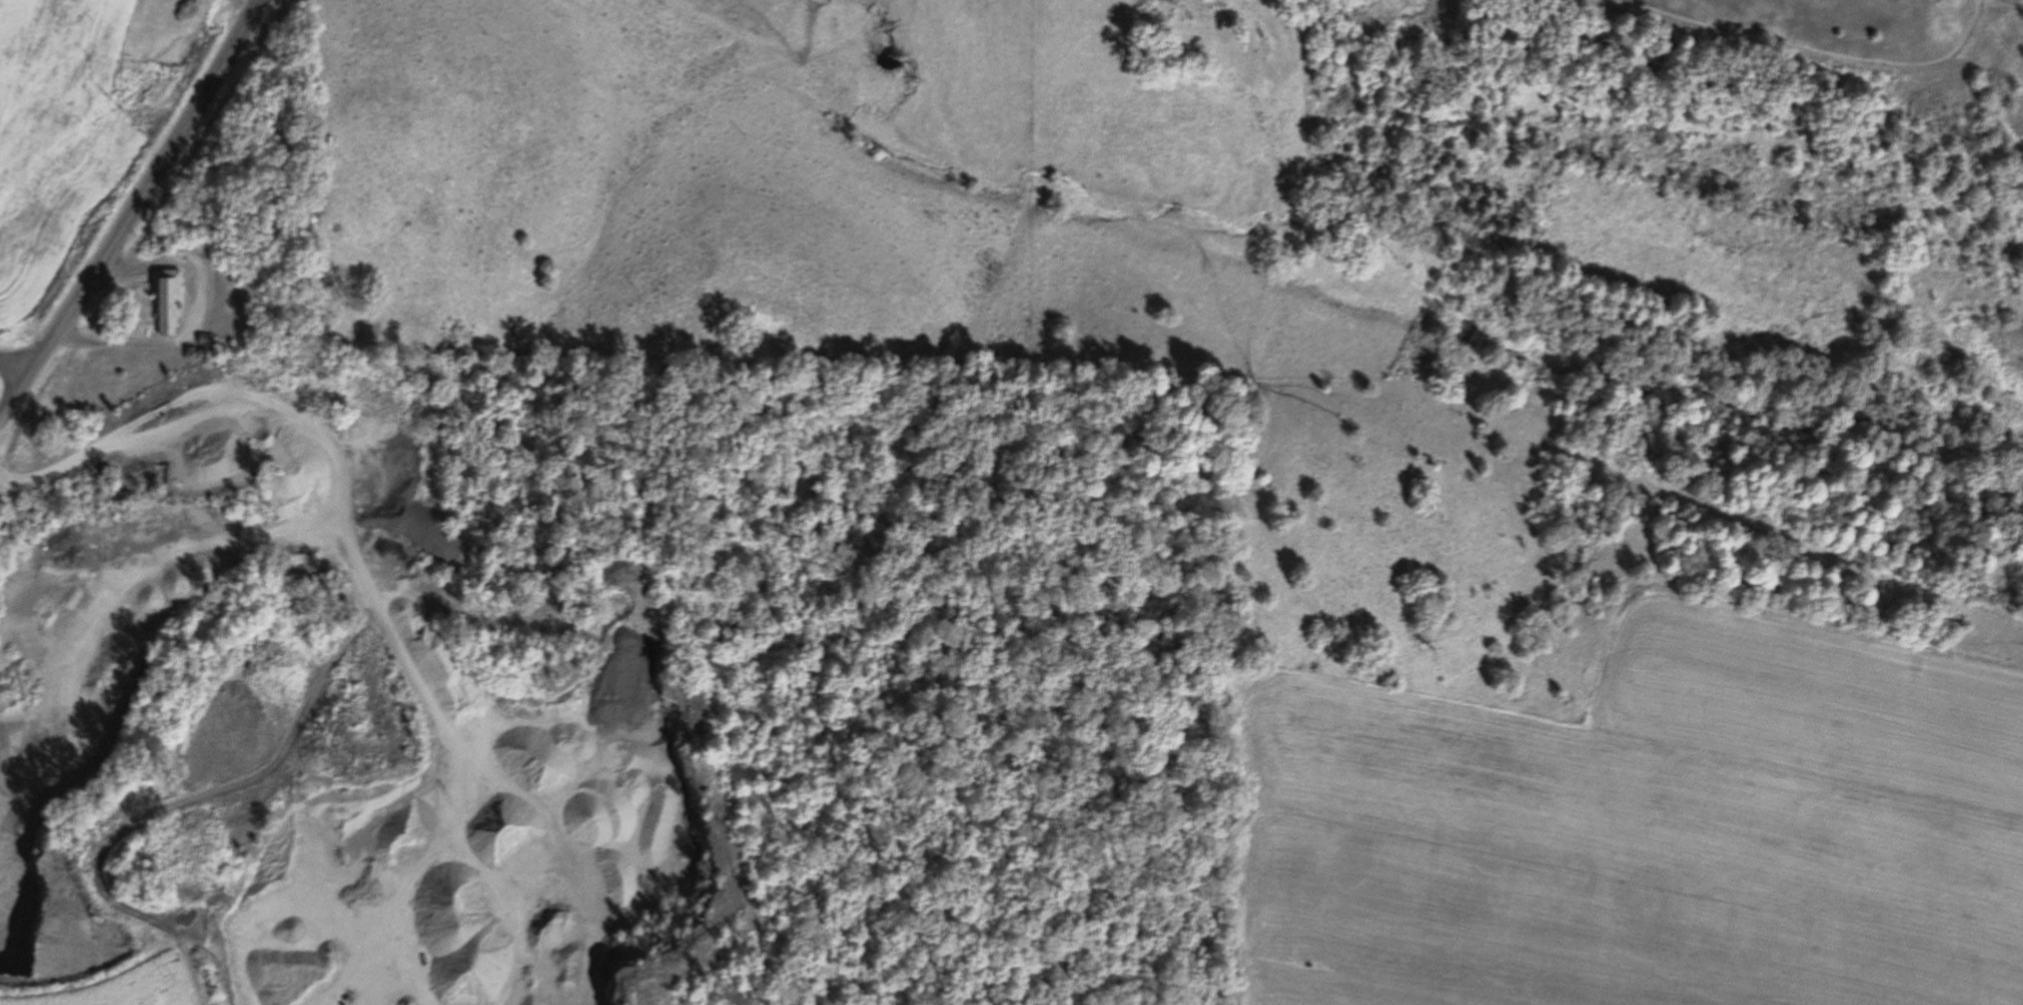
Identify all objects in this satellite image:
road: (137, 216)
building: (168, 300)
road: (198, 318)
building: (208, 340)
road: (20, 361)
road: (328, 464)
quarry: (352, 699)

